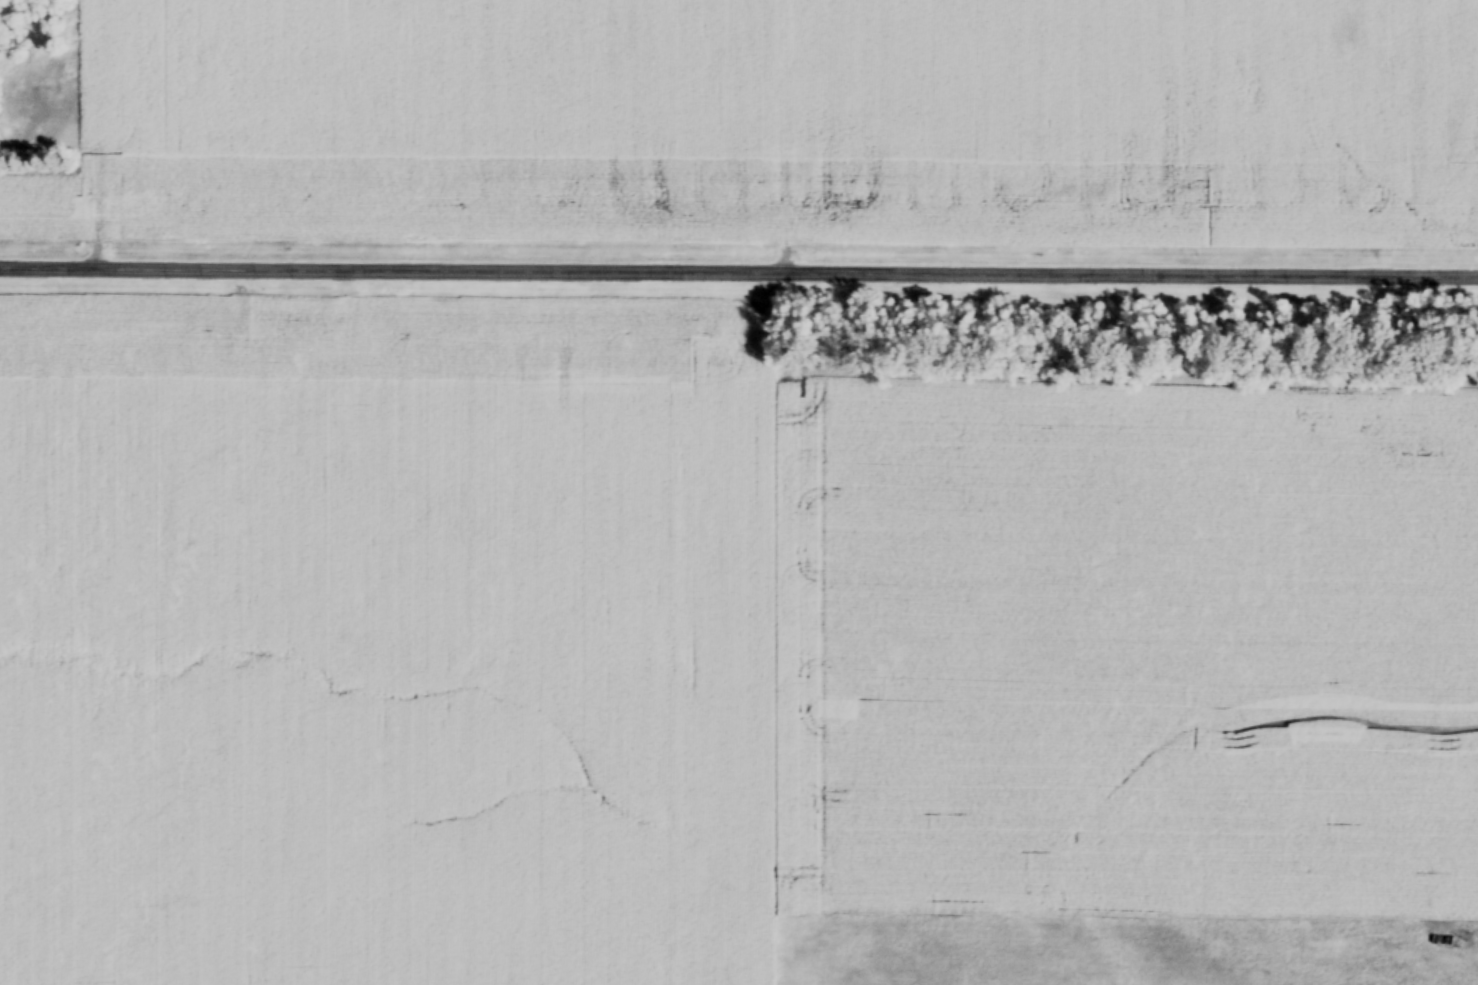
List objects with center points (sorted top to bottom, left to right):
road: (738, 279)

